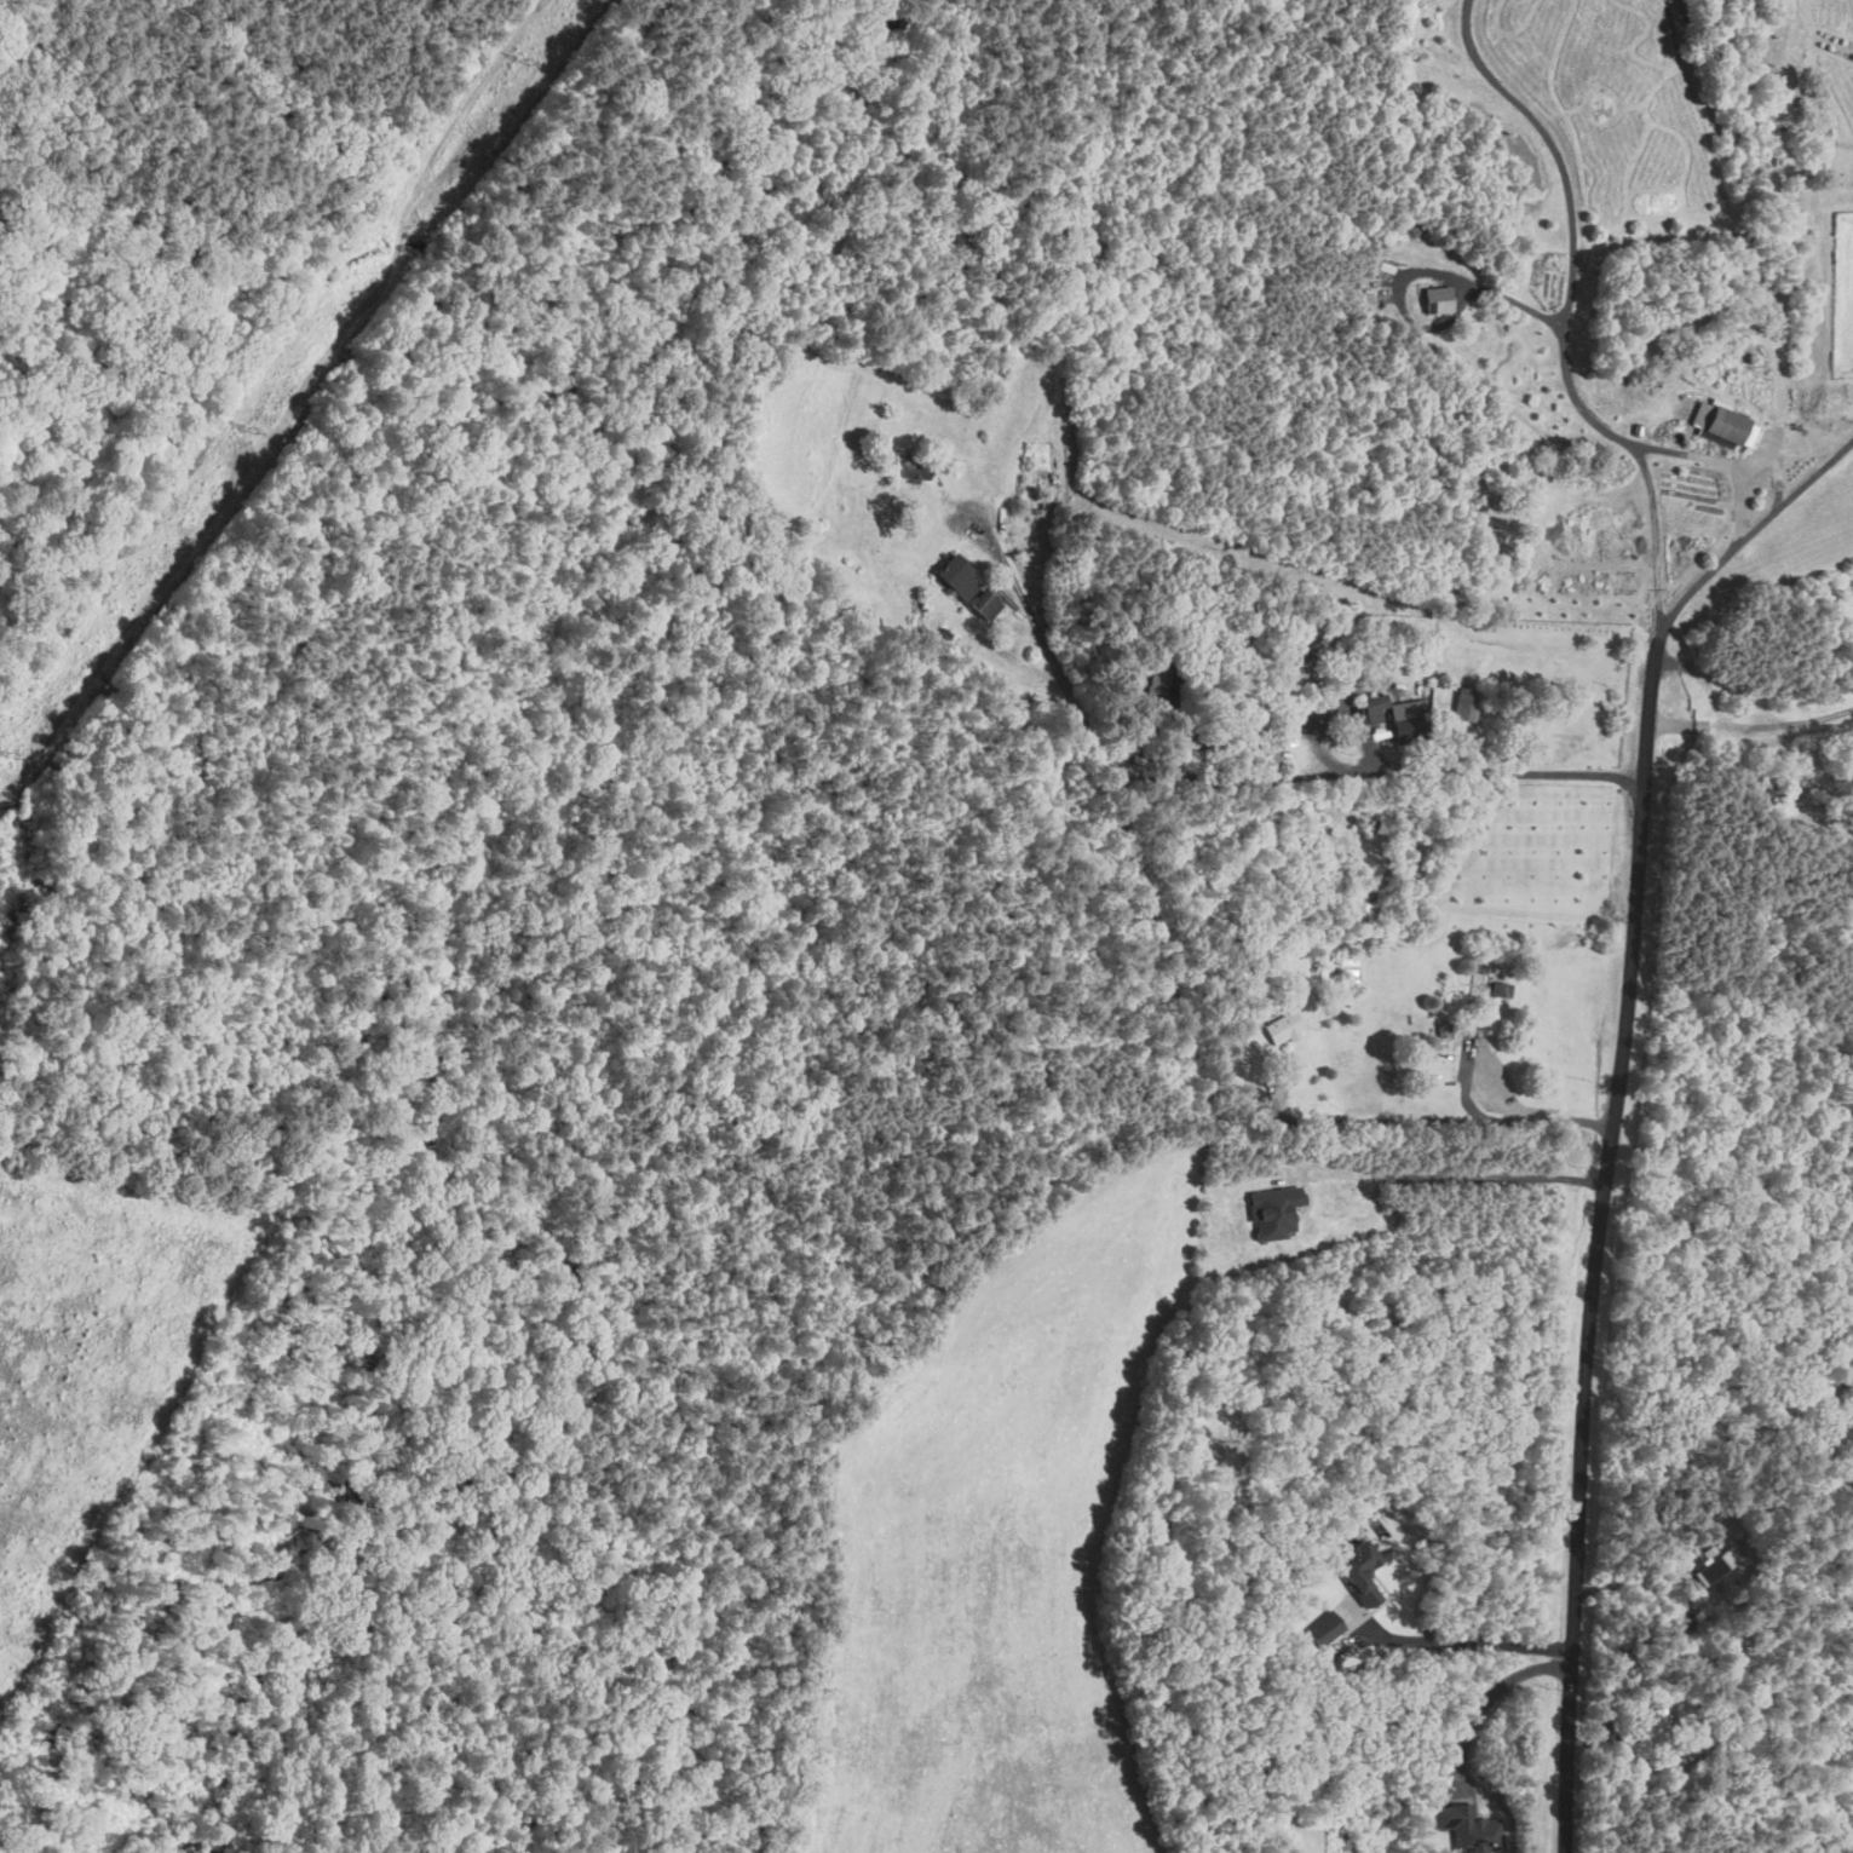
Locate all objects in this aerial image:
building: (1375, 261)
road: (1481, 288)
building: (1434, 298)
road: (1566, 310)
building: (1719, 424)
building: (1635, 426)
road: (1650, 540)
building: (962, 575)
building: (990, 605)
road: (1058, 671)
building: (1379, 708)
building: (1406, 720)
road: (1745, 725)
road: (1370, 773)
road: (1814, 779)
building: (1383, 823)
building: (1285, 949)
building: (1287, 1028)
building: (1441, 1029)
building: (1256, 1098)
road: (1618, 1105)
road: (1272, 1116)
road: (1444, 1182)
building: (1271, 1209)
building: (1356, 1569)
building: (1709, 1571)
building: (1299, 1588)
building: (1325, 1630)
road: (1460, 1642)
building: (1467, 1828)

